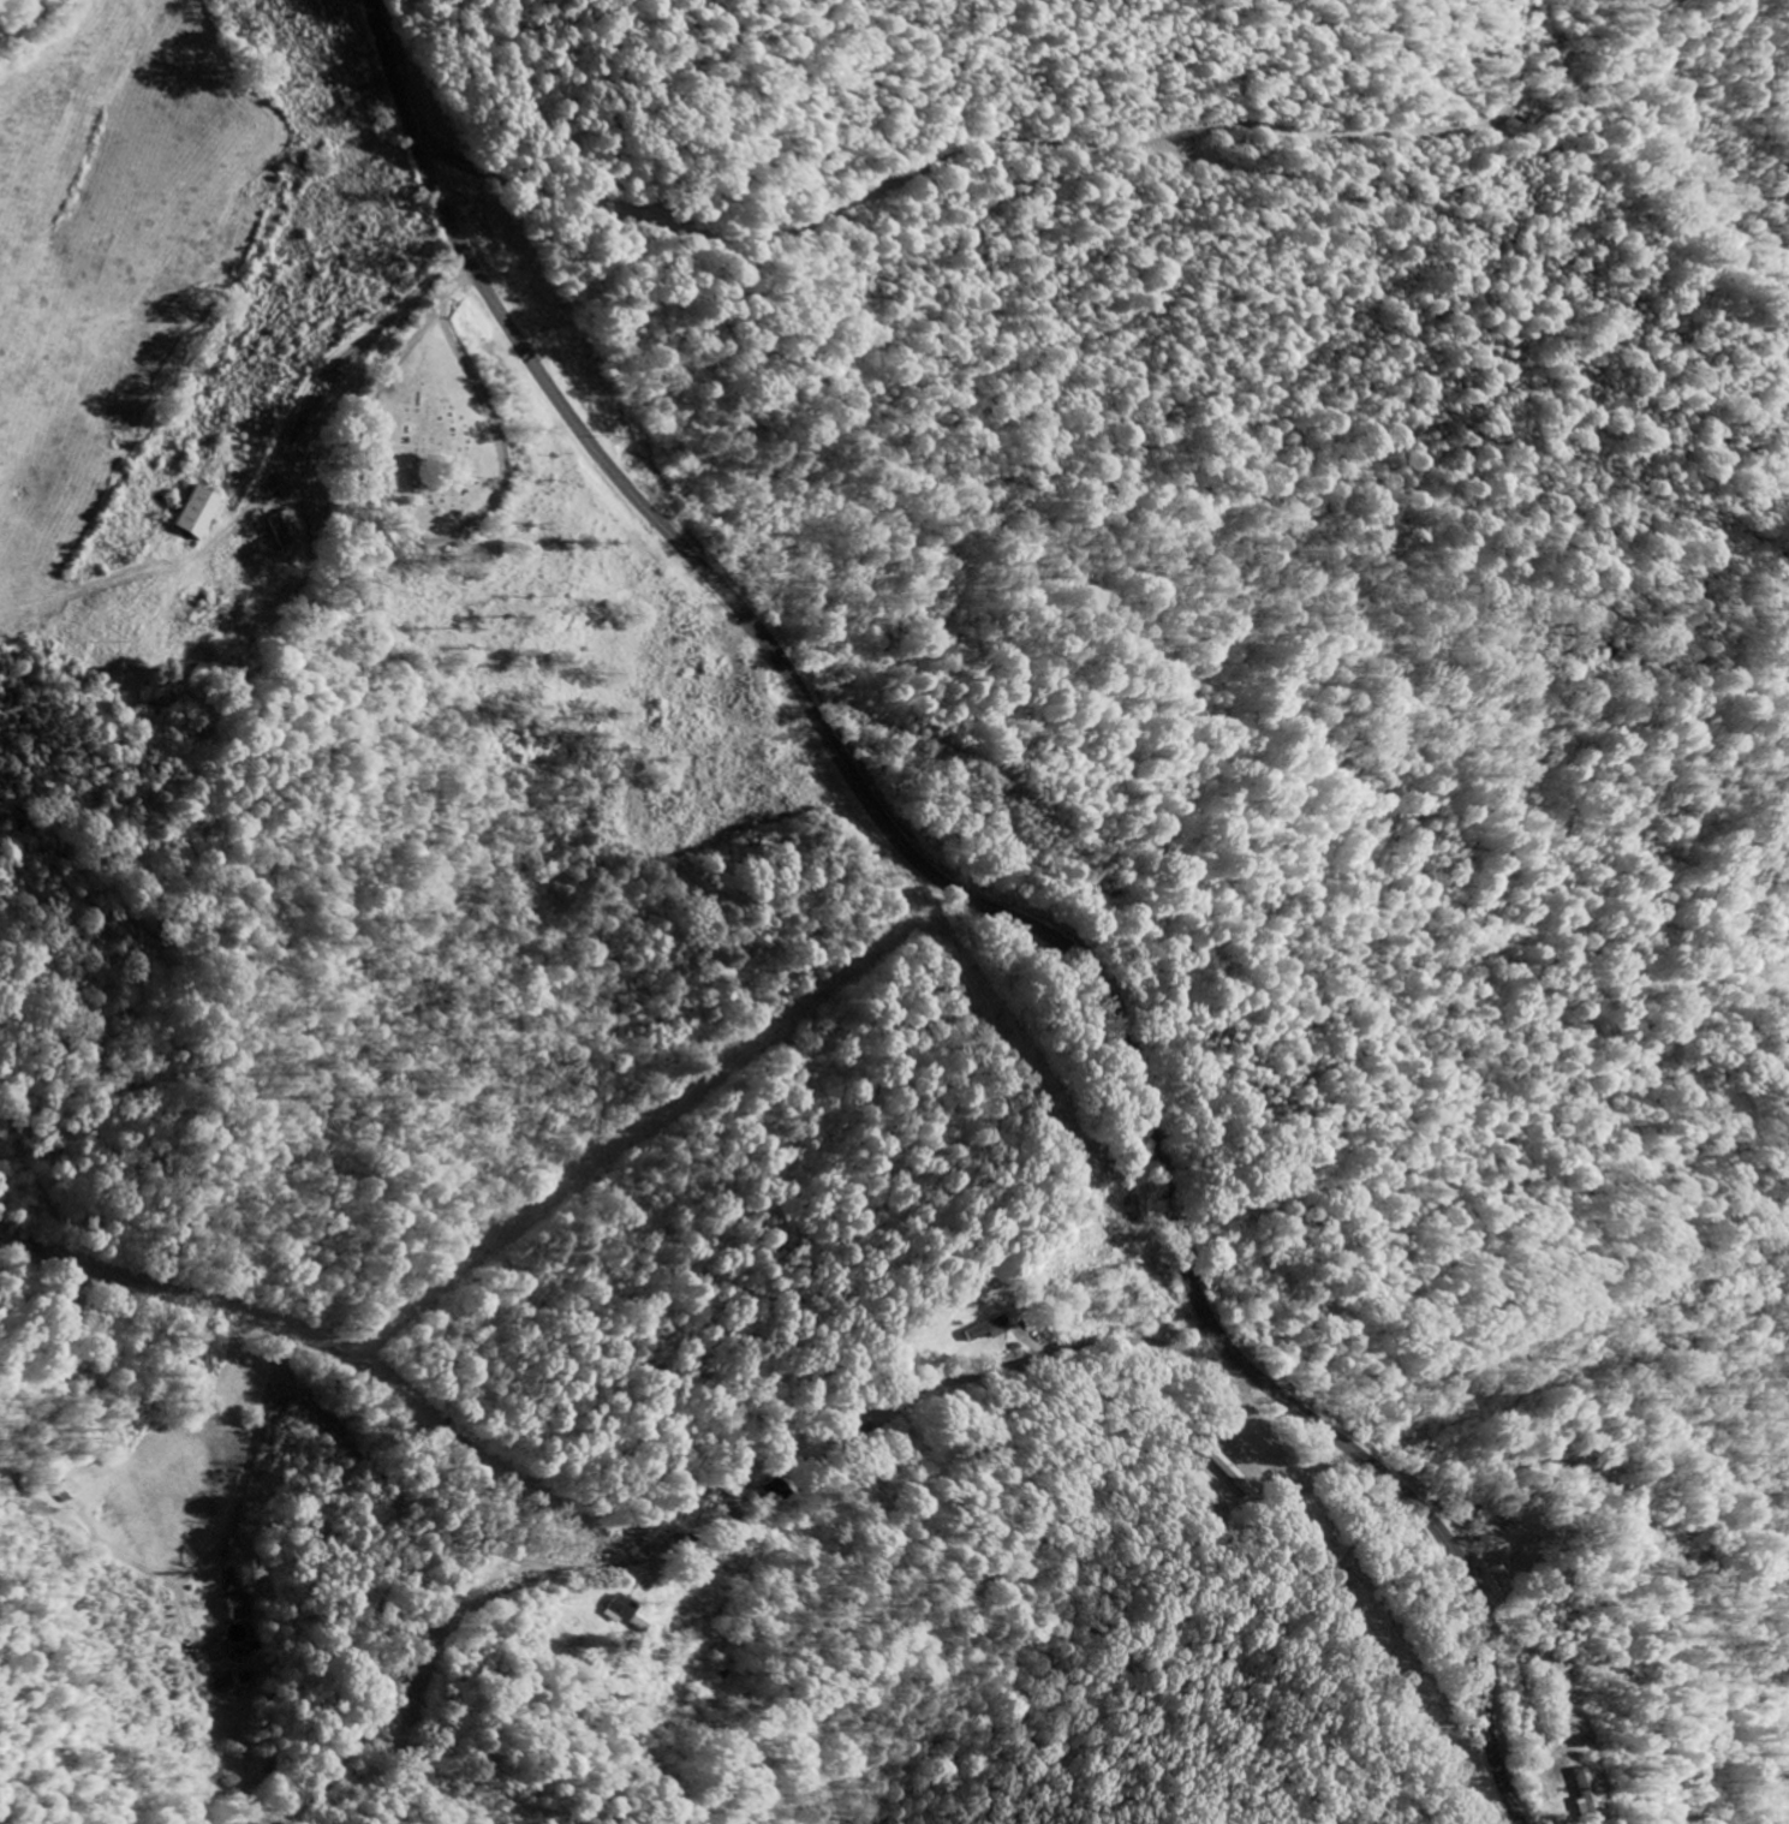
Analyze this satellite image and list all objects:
road: (1508, 65)
road: (936, 160)
road: (453, 285)
park: (417, 440)
building: (193, 515)
road: (401, 529)
building: (279, 530)
road: (984, 907)
road: (74, 1277)
building: (984, 1330)
road: (1529, 1379)
road: (881, 1401)
road: (396, 1497)
building: (232, 1607)
building: (614, 1611)
building: (1573, 1806)

